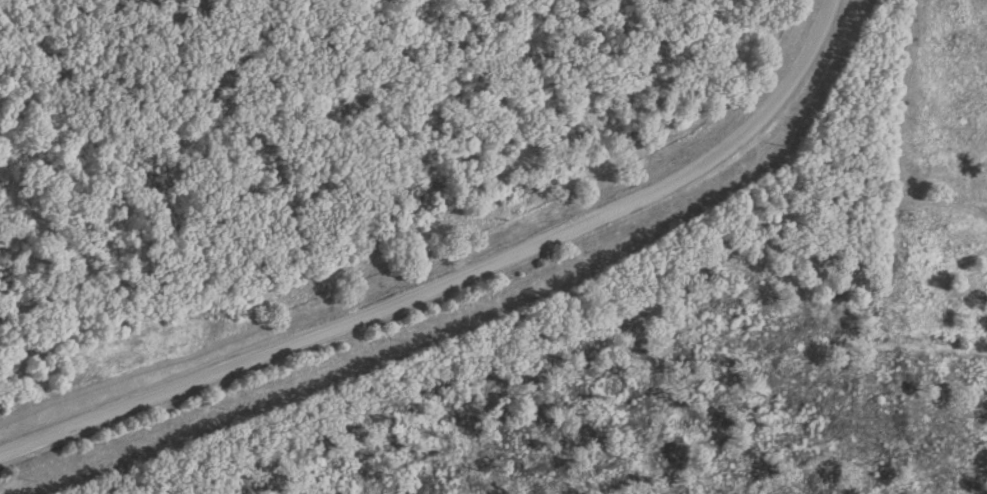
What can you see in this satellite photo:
road: (455, 279)

